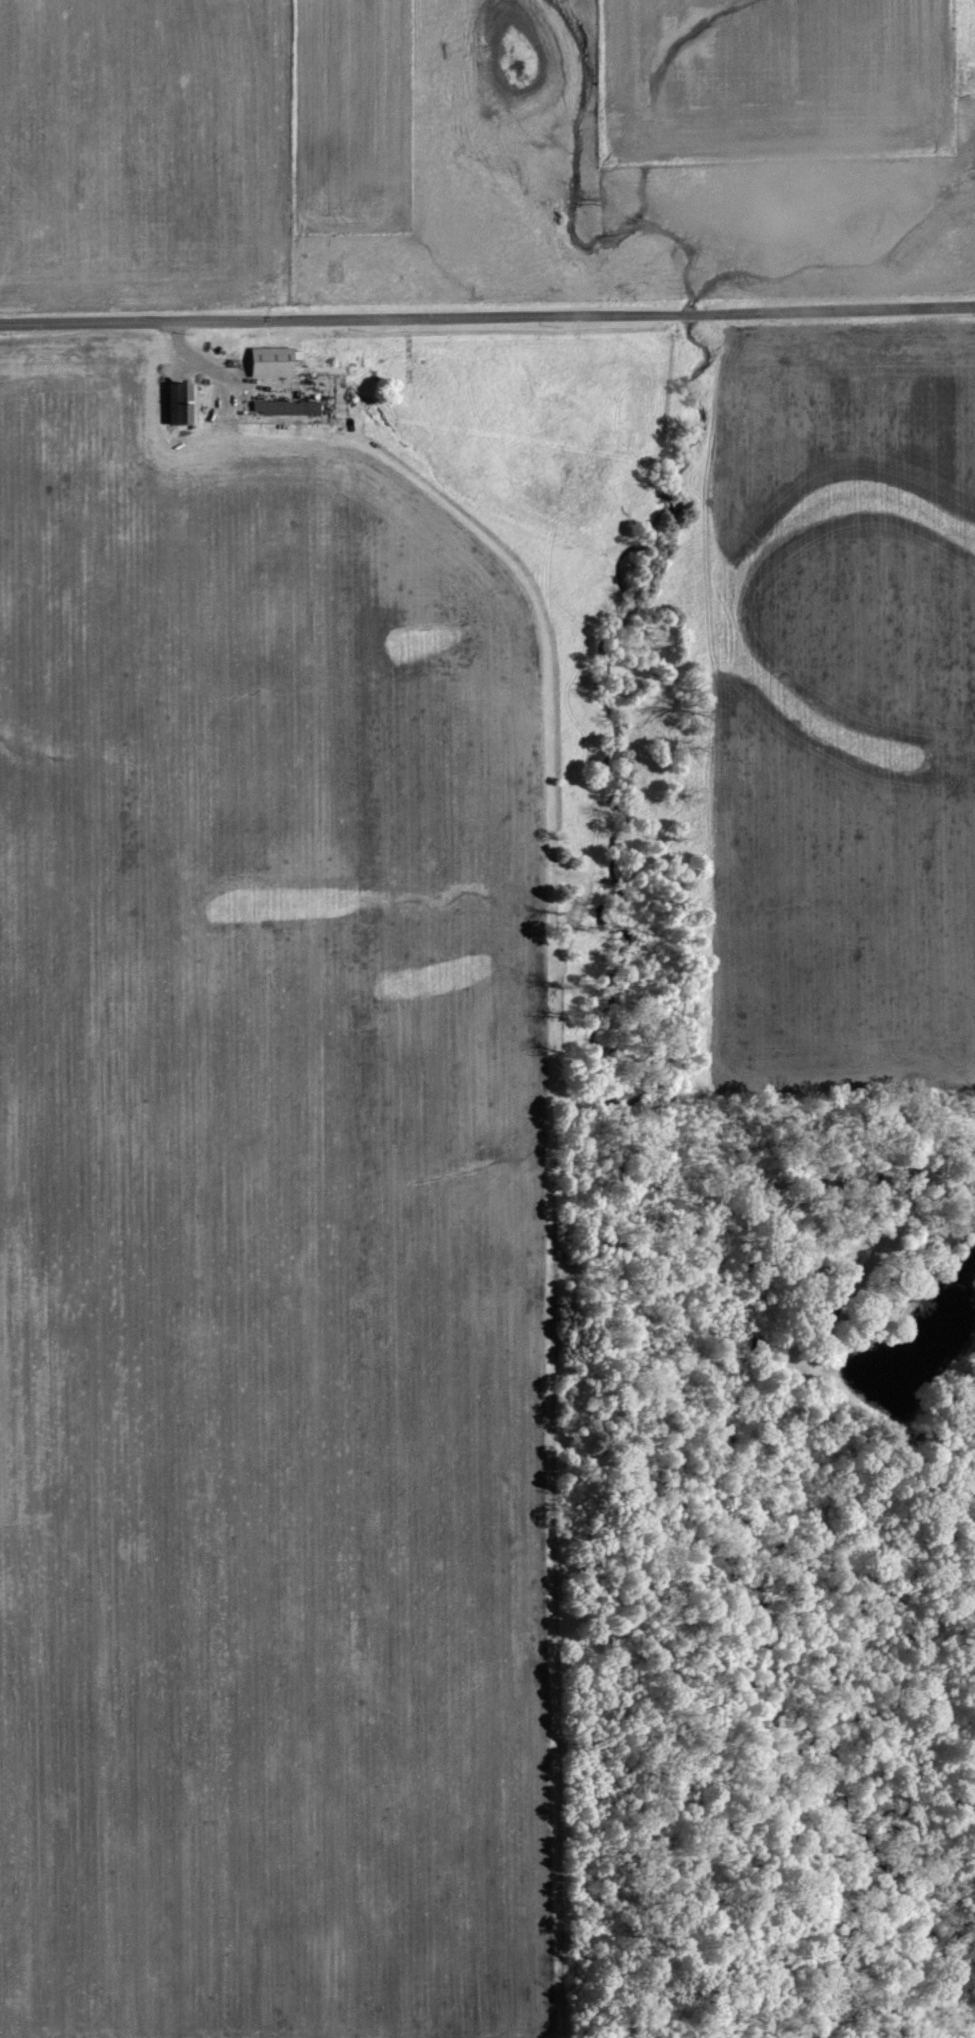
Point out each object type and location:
road: (487, 313)
building: (276, 362)
building: (186, 403)
building: (289, 407)

